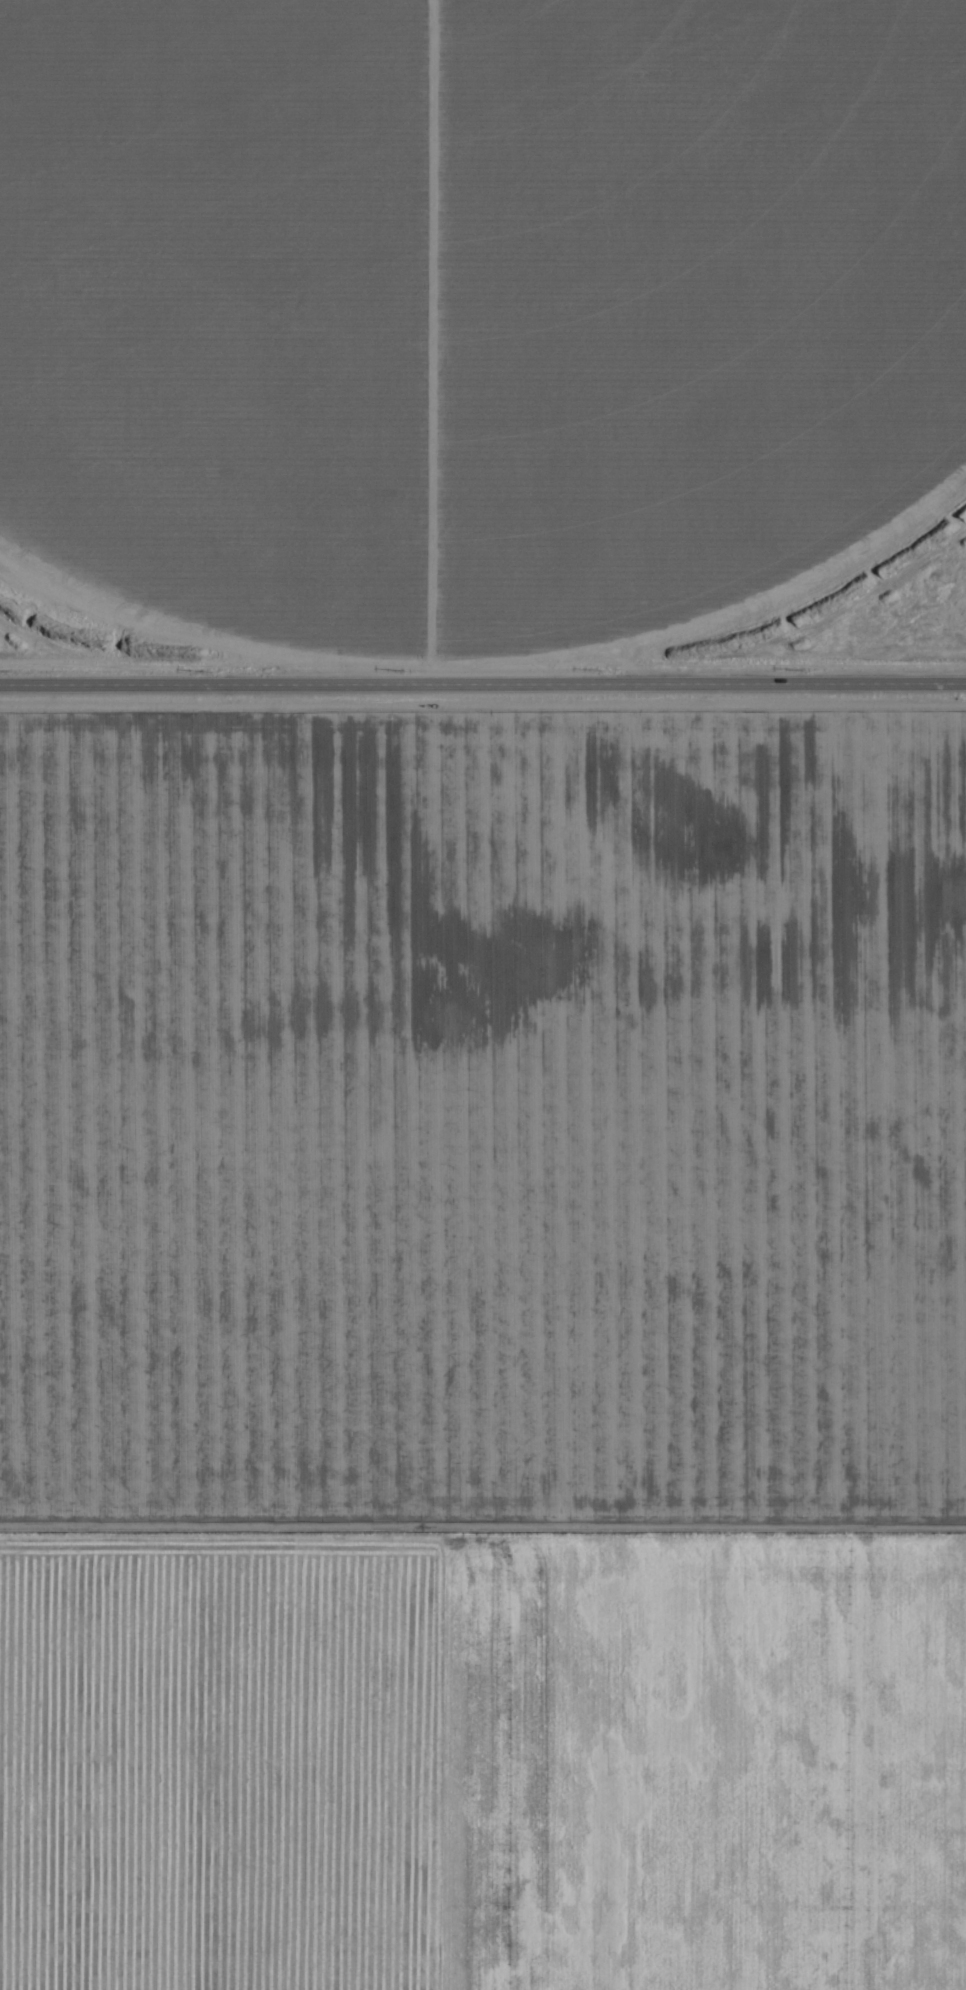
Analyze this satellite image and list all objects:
road: (483, 687)
crop: (481, 1003)

